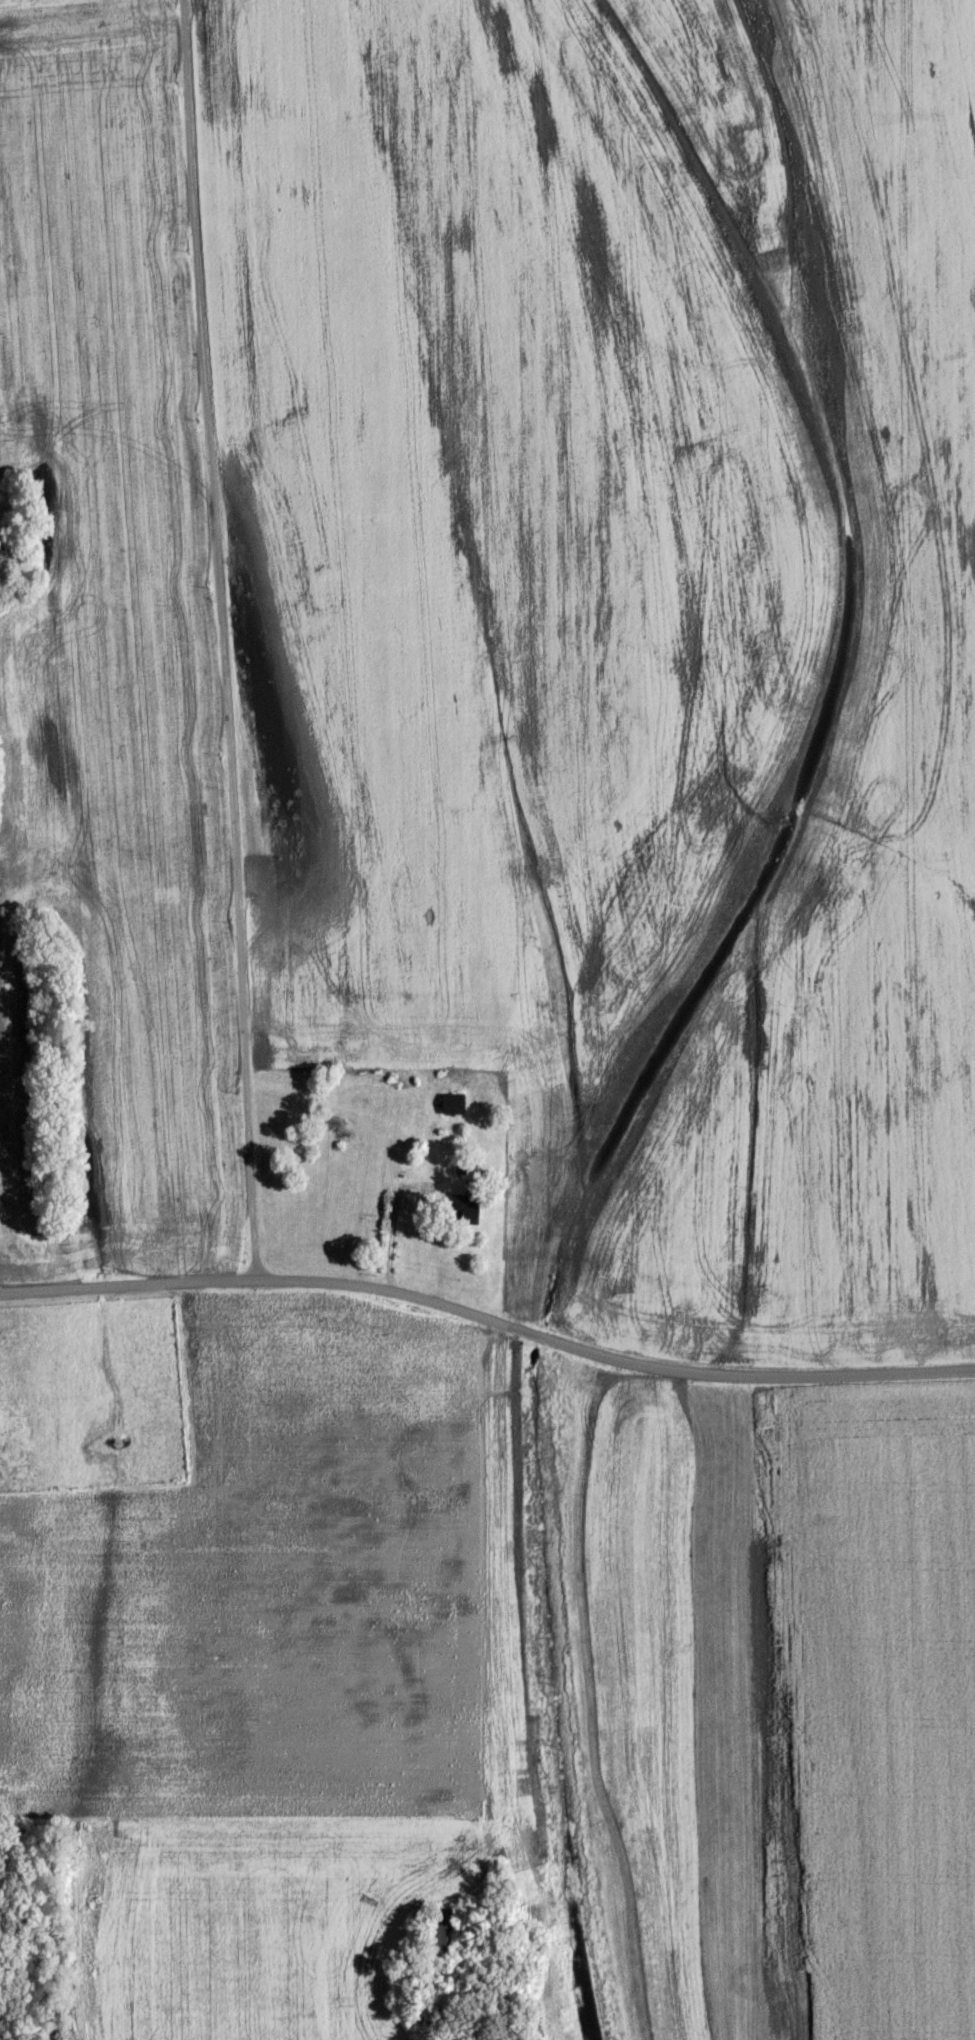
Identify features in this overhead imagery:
road: (222, 639)
building: (452, 1102)
building: (465, 1205)
road: (390, 1231)
road: (488, 1318)

